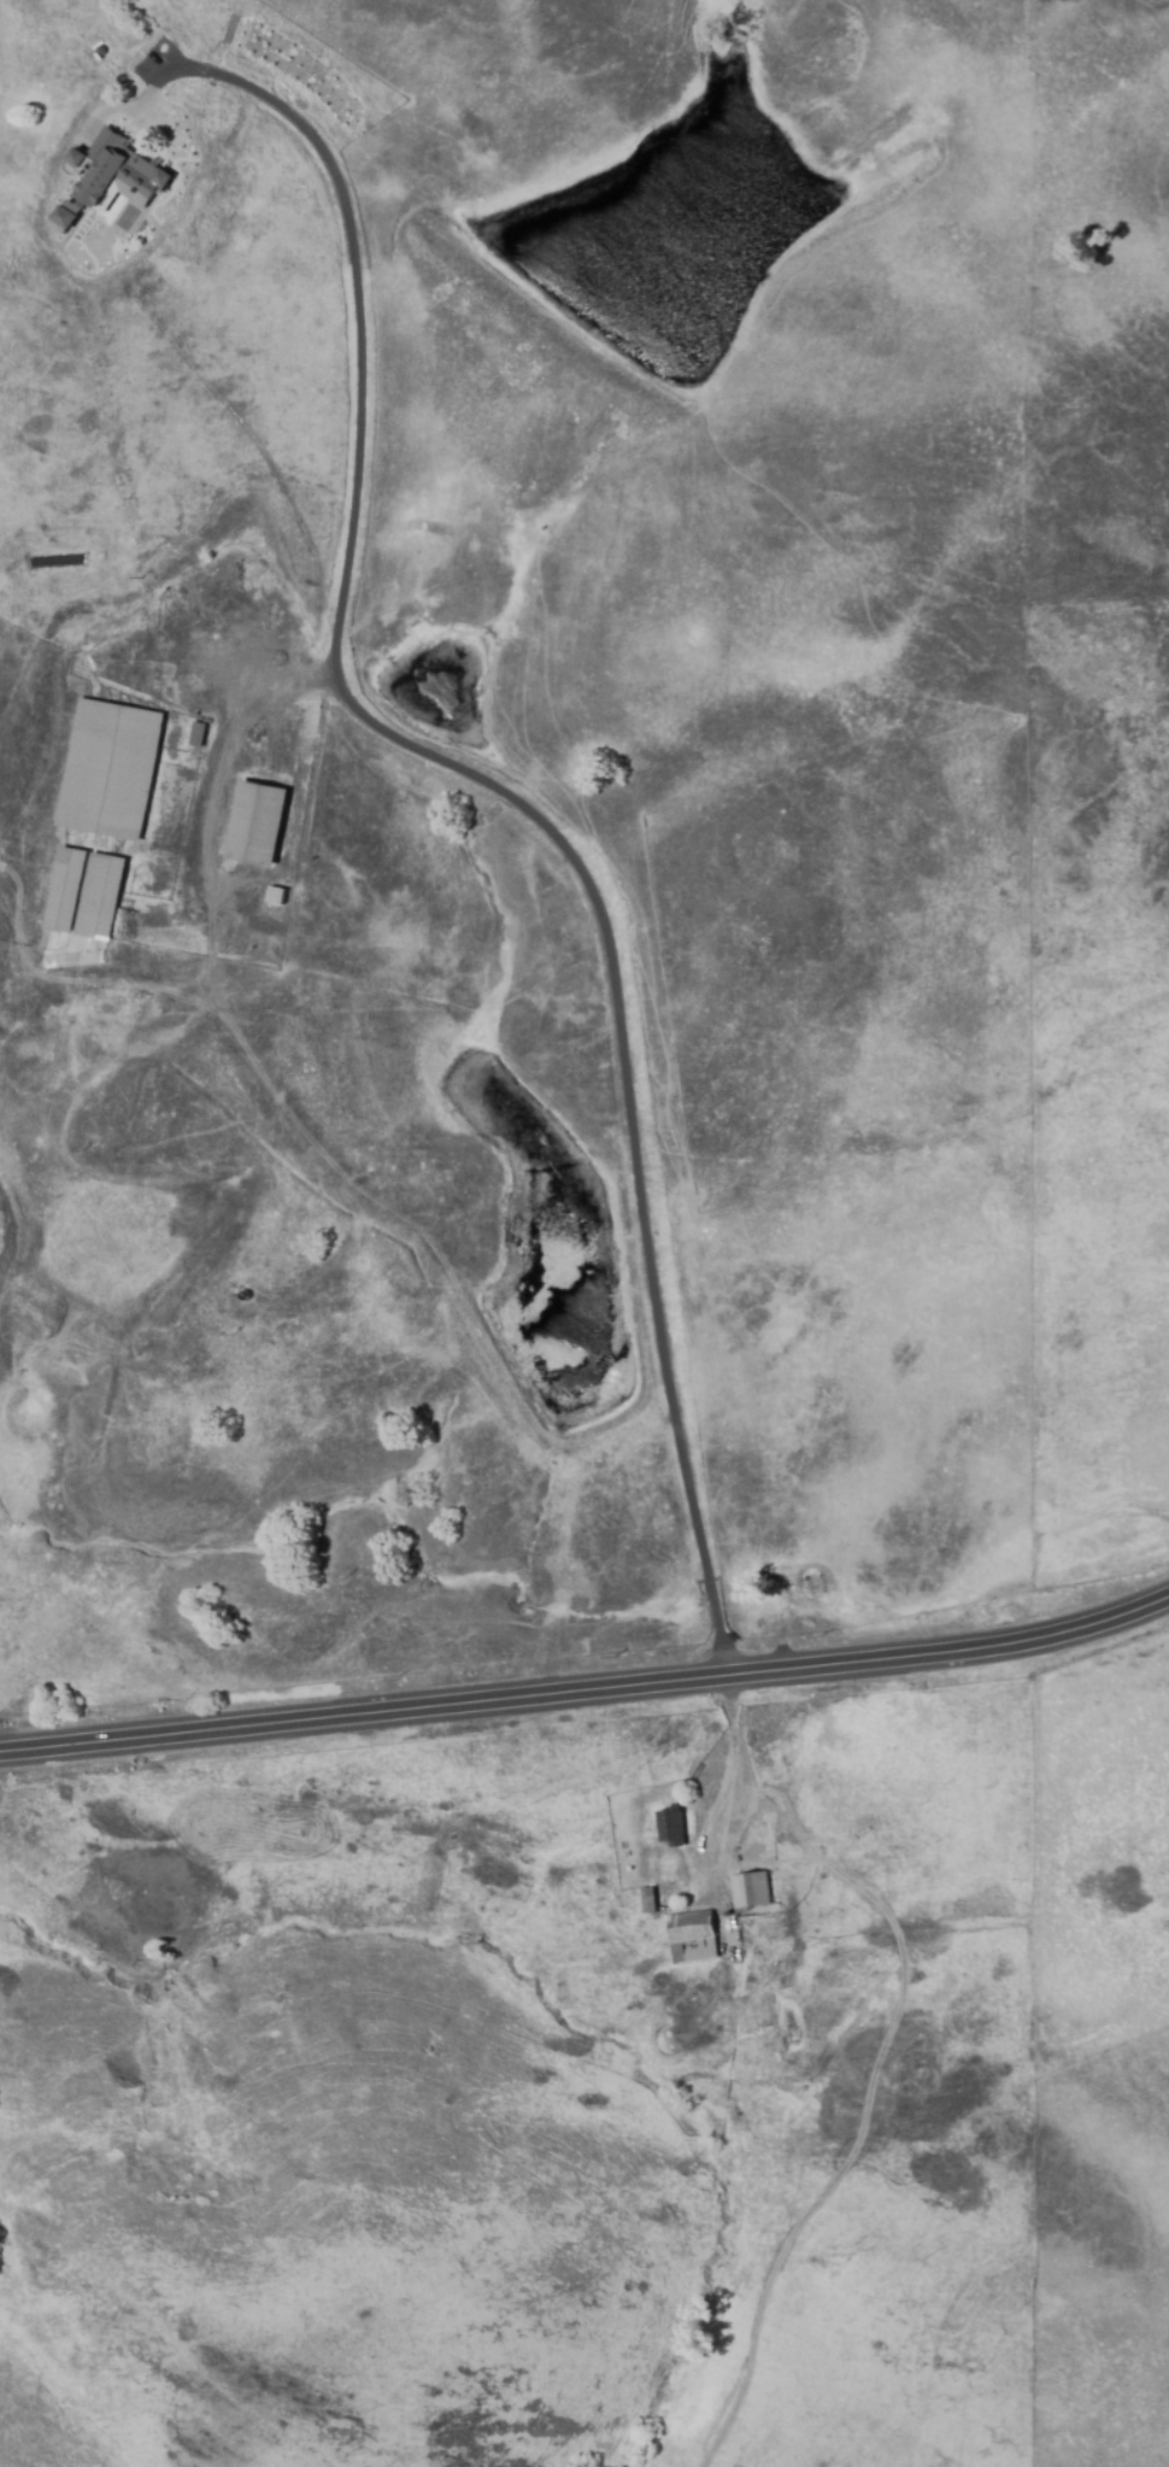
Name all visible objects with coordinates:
building: (76, 160)
building: (110, 189)
building: (65, 216)
building: (186, 617)
building: (200, 734)
road: (222, 749)
building: (107, 769)
road: (518, 811)
building: (257, 822)
building: (84, 892)
building: (277, 895)
building: (245, 1295)
road: (587, 1690)
road: (729, 1780)
building: (672, 1829)
building: (694, 1892)
building: (752, 1892)
building: (651, 1898)
building: (695, 1936)

